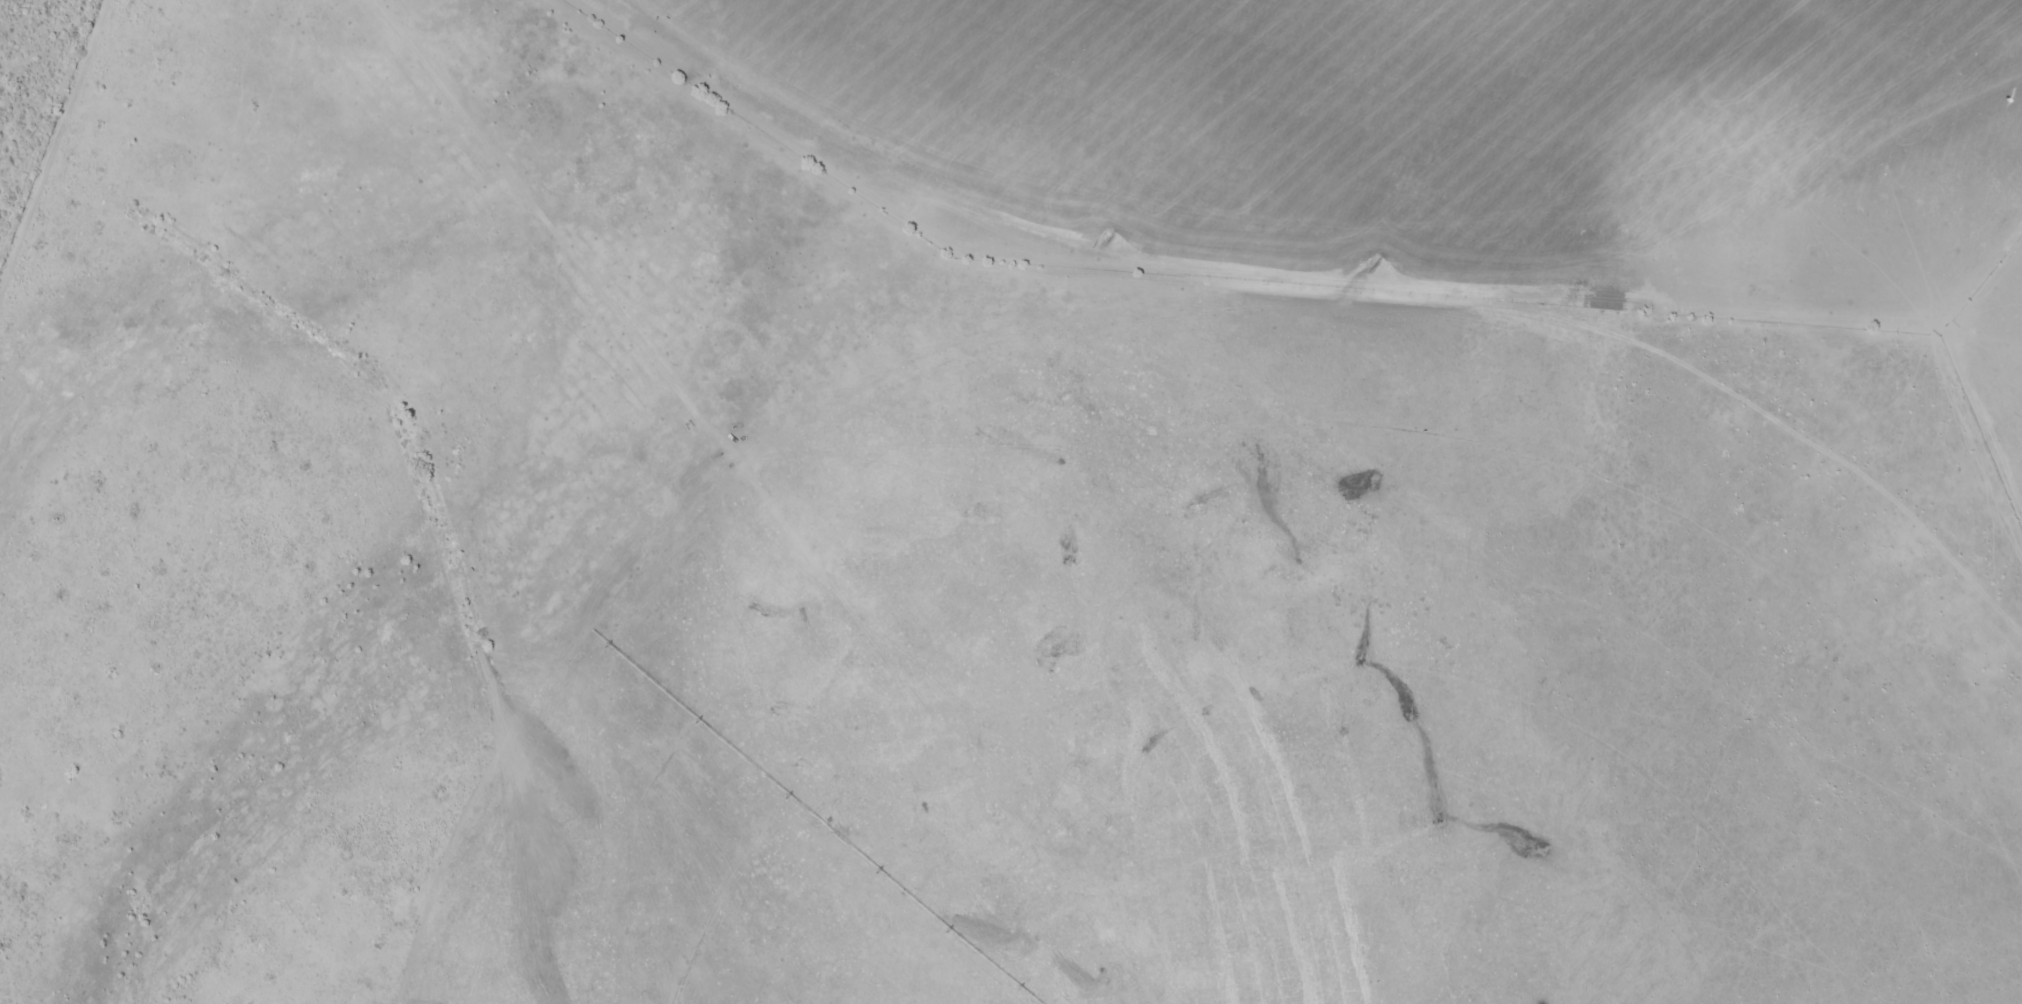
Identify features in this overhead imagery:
road: (1315, 439)

